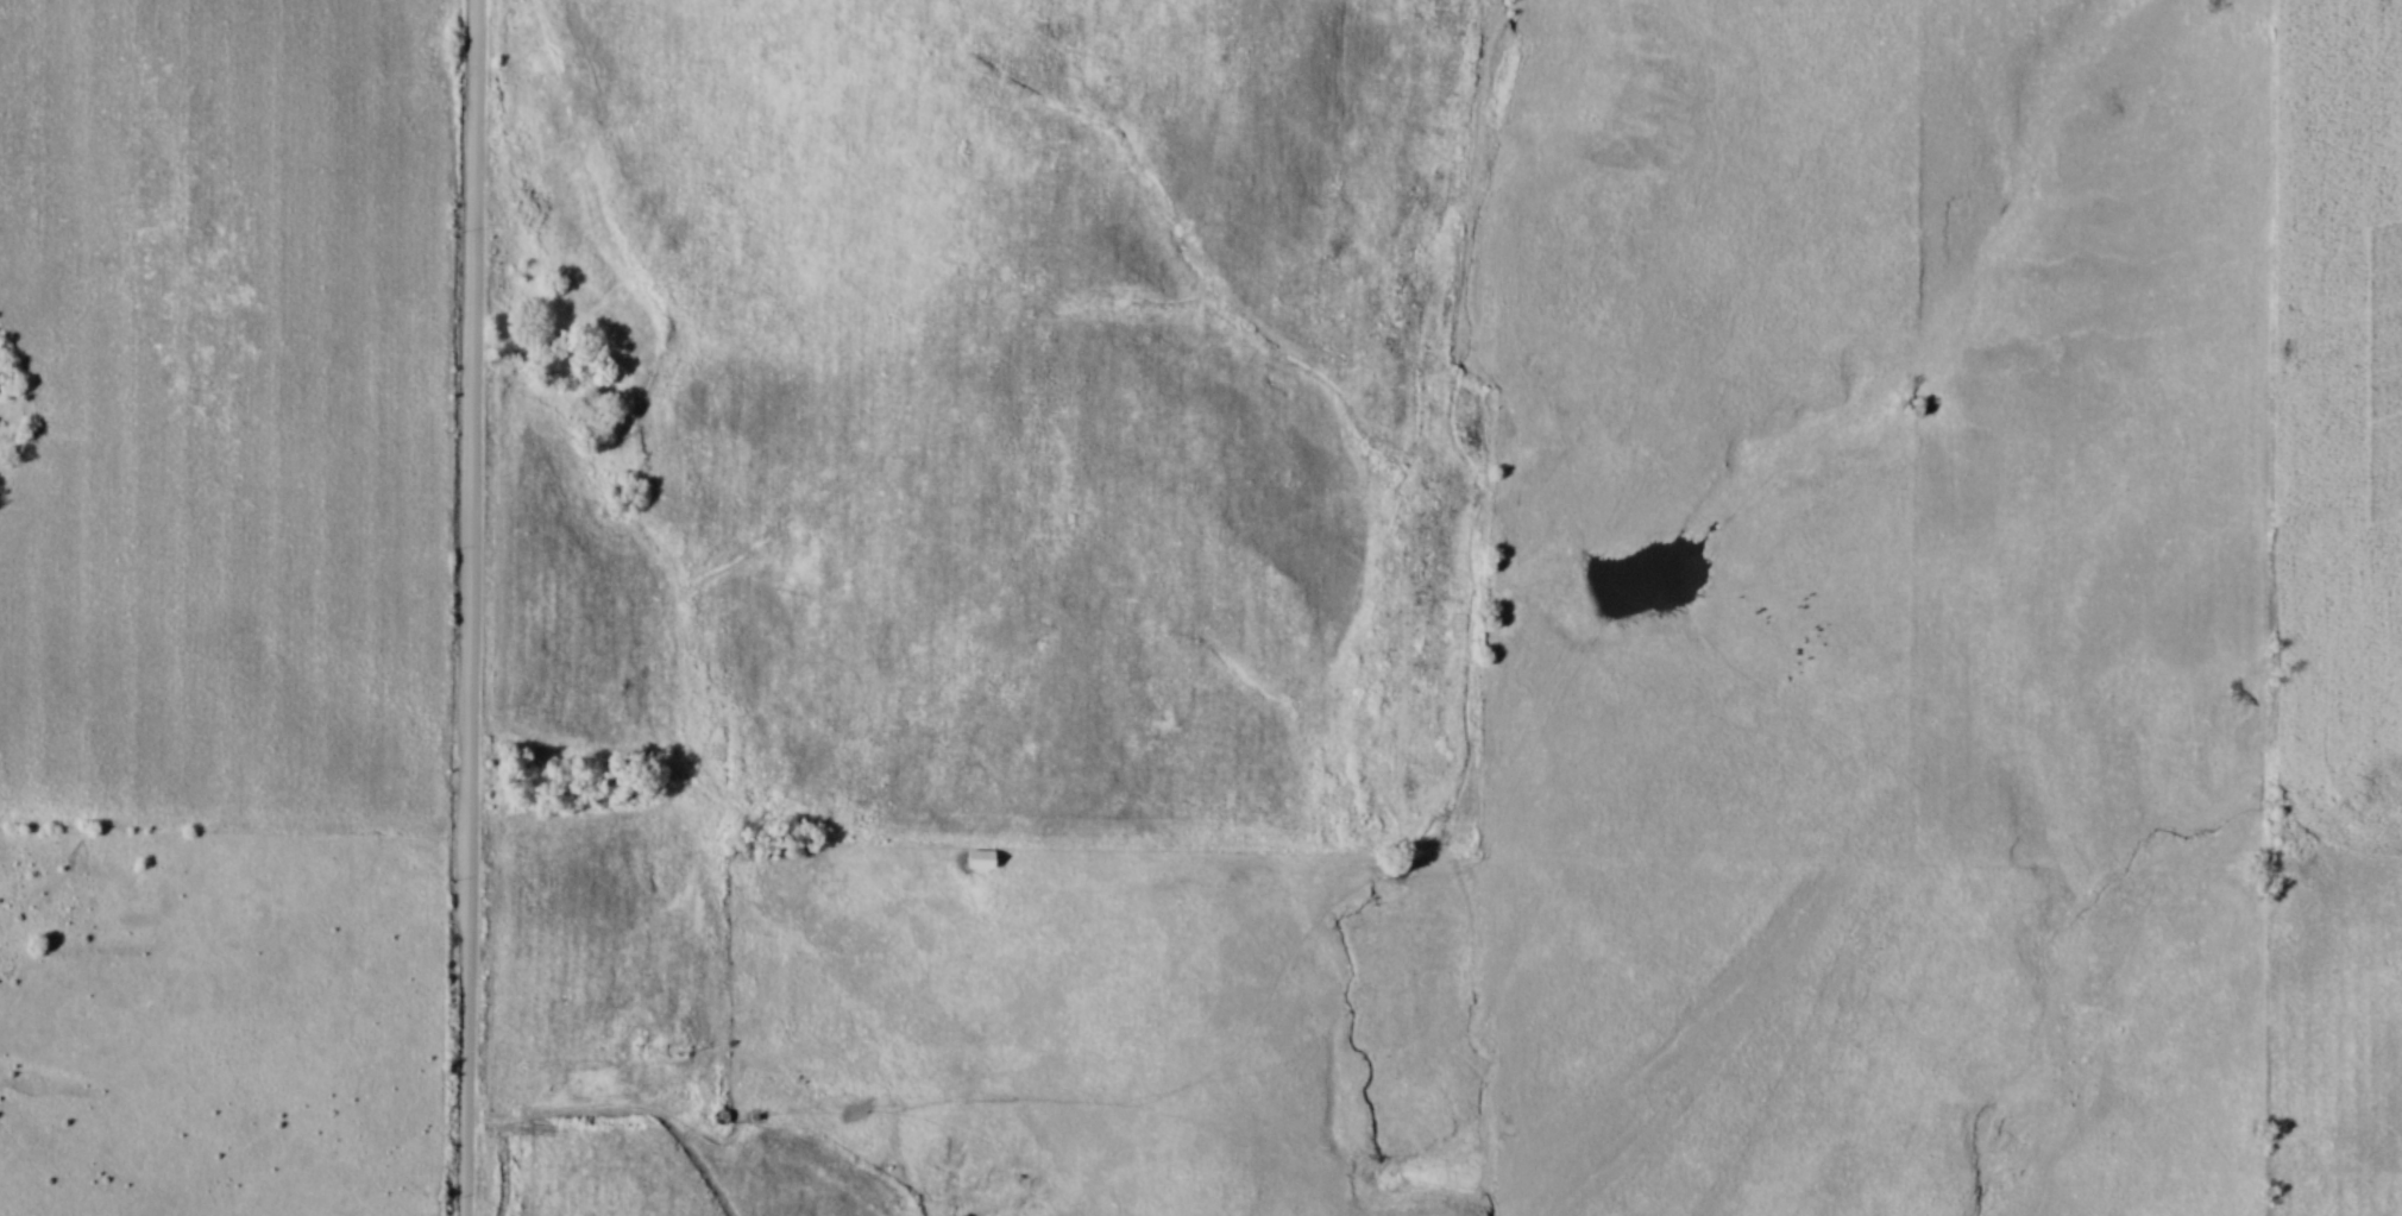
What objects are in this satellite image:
road: (467, 607)
building: (983, 858)

